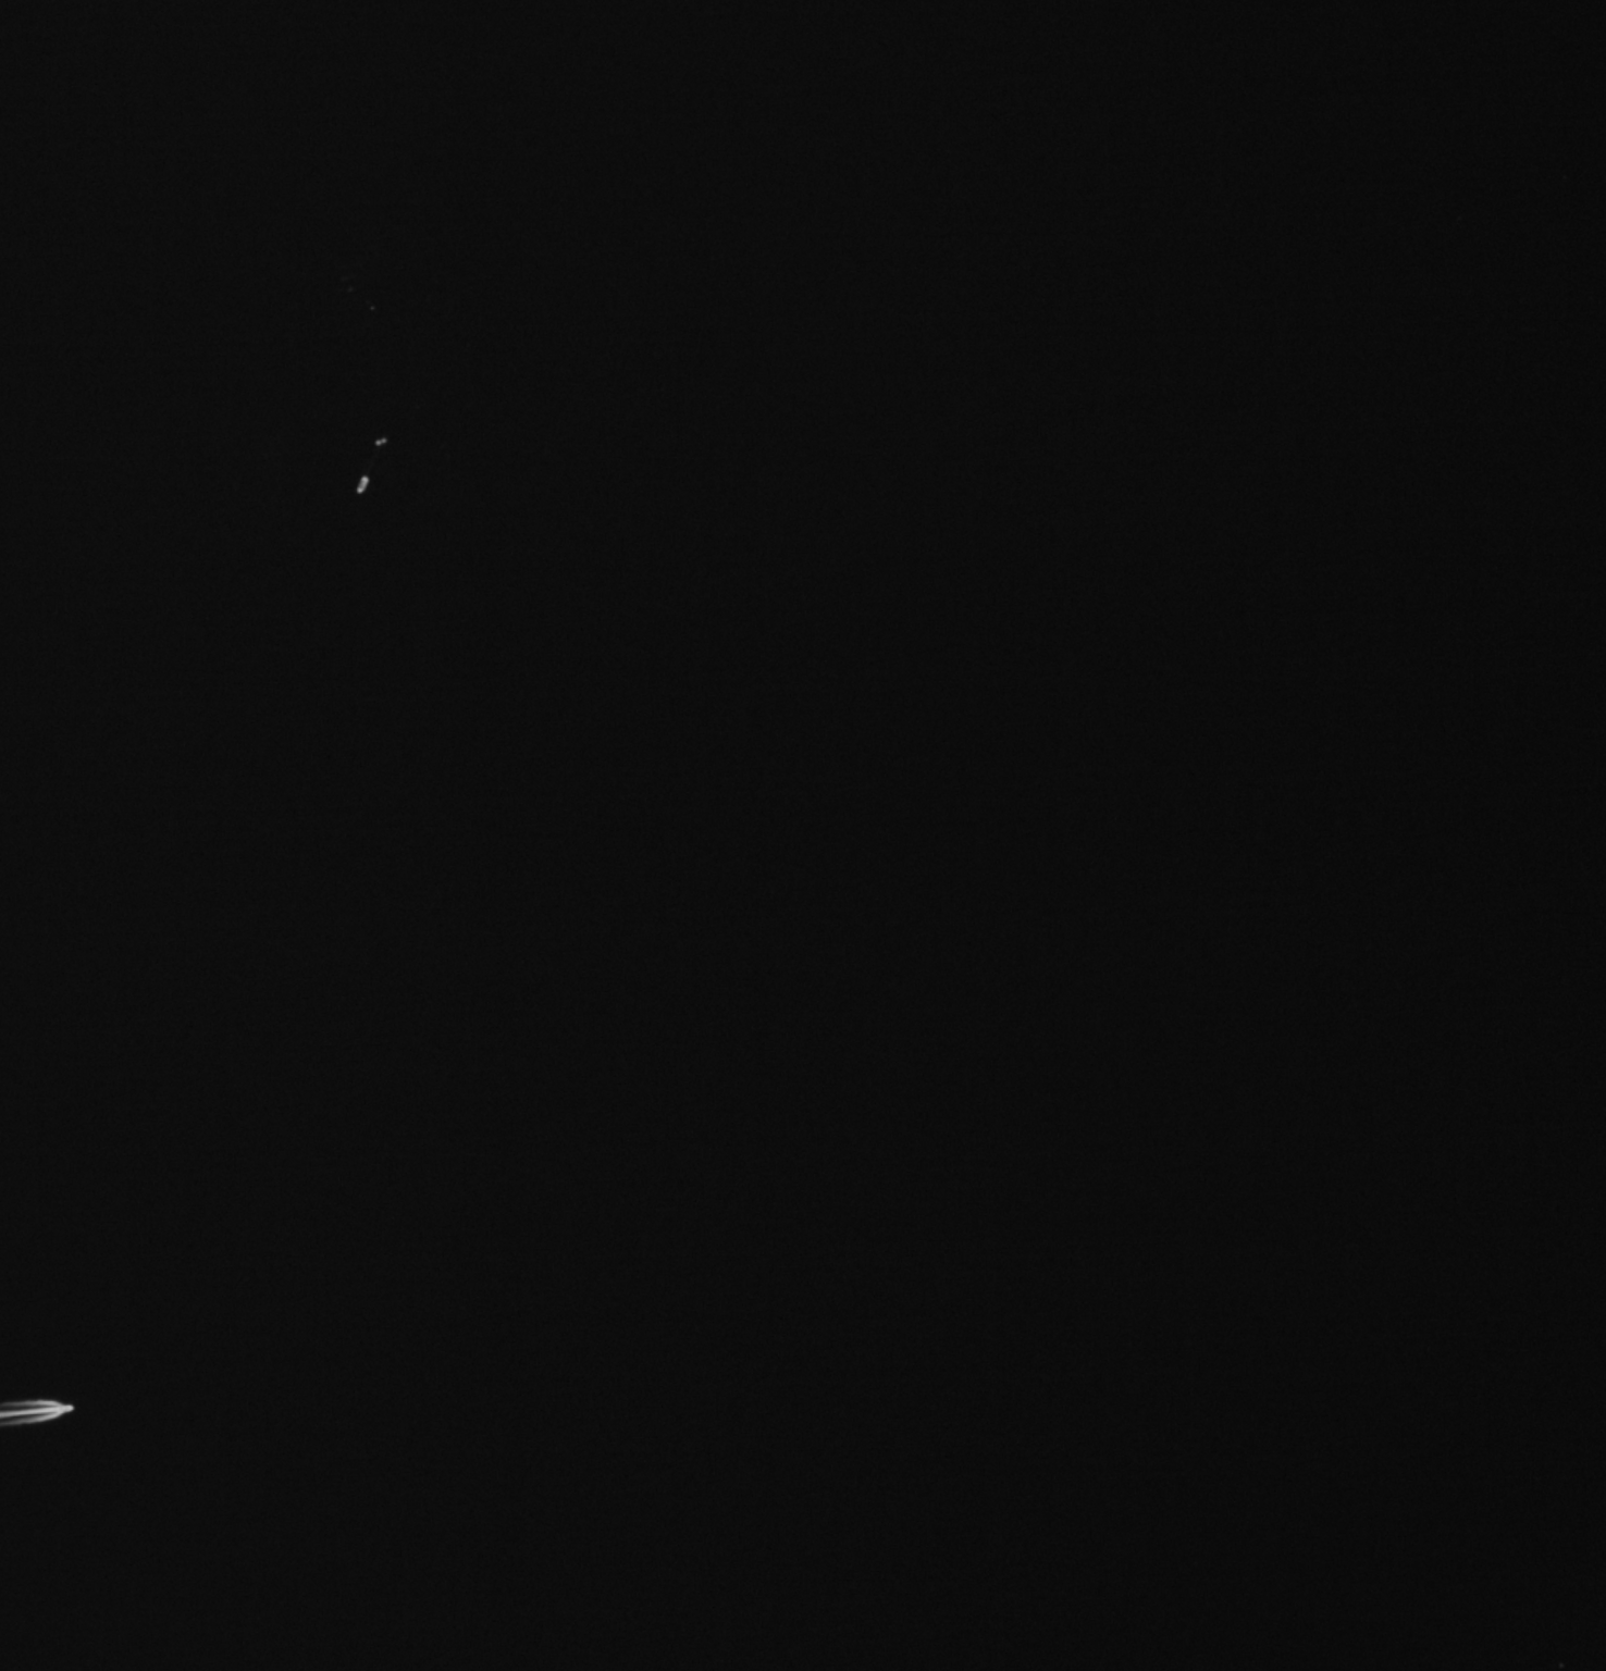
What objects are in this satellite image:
river: (803, 973)

